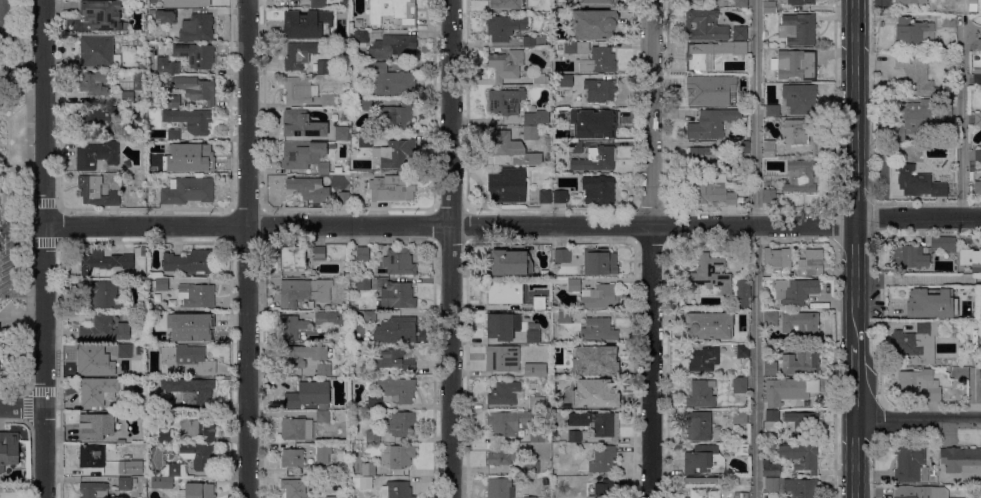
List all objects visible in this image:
building: (705, 0)
building: (601, 2)
building: (800, 2)
building: (911, 2)
building: (180, 3)
building: (504, 3)
building: (741, 3)
building: (317, 4)
building: (770, 7)
building: (394, 11)
building: (102, 15)
building: (164, 16)
road: (4, 19)
building: (949, 21)
parking lot: (10, 23)
building: (313, 23)
building: (594, 24)
building: (705, 25)
building: (355, 26)
building: (505, 27)
building: (197, 28)
building: (798, 30)
building: (740, 33)
building: (914, 33)
building: (362, 37)
road: (2, 39)
building: (533, 41)
building: (979, 45)
building: (392, 46)
building: (576, 48)
building: (98, 52)
building: (301, 54)
building: (196, 55)
building: (710, 55)
building: (599, 61)
road: (21, 63)
building: (506, 65)
building: (795, 65)
building: (168, 66)
building: (323, 67)
building: (916, 74)
building: (977, 77)
building: (540, 79)
building: (392, 81)
building: (566, 81)
building: (737, 81)
building: (136, 82)
building: (94, 83)
building: (196, 89)
building: (300, 90)
building: (600, 90)
building: (699, 91)
building: (127, 96)
building: (945, 97)
building: (800, 98)
building: (141, 99)
building: (174, 101)
building: (328, 101)
building: (505, 101)
building: (367, 104)
road: (855, 110)
building: (345, 111)
building: (772, 111)
building: (945, 111)
road: (43, 112)
building: (90, 117)
building: (396, 117)
building: (345, 118)
building: (536, 118)
building: (914, 119)
building: (978, 119)
building: (190, 120)
building: (593, 123)
building: (301, 124)
building: (712, 124)
road: (961, 124)
building: (939, 126)
building: (796, 132)
building: (341, 133)
building: (531, 133)
building: (173, 135)
building: (365, 141)
building: (814, 146)
building: (743, 147)
building: (576, 148)
building: (769, 149)
building: (508, 150)
building: (978, 153)
building: (197, 154)
building: (302, 154)
building: (396, 154)
building: (96, 155)
building: (596, 159)
building: (703, 159)
building: (168, 168)
building: (323, 168)
building: (802, 176)
building: (123, 179)
building: (921, 182)
building: (507, 186)
building: (978, 187)
building: (310, 189)
building: (392, 189)
building: (712, 189)
building: (600, 190)
building: (189, 191)
building: (96, 192)
building: (560, 196)
building: (769, 196)
building: (545, 197)
building: (343, 198)
road: (28, 208)
road: (917, 218)
road: (449, 225)
building: (944, 244)
road: (450, 248)
road: (755, 248)
road: (246, 249)
road: (651, 249)
building: (319, 253)
building: (363, 254)
parking lot: (6, 256)
building: (563, 256)
building: (910, 257)
building: (778, 258)
building: (293, 259)
building: (971, 260)
building: (105, 261)
building: (191, 262)
building: (399, 262)
building: (600, 262)
road: (855, 262)
building: (510, 263)
building: (811, 263)
building: (711, 274)
road: (917, 280)
building: (161, 284)
building: (364, 284)
building: (574, 285)
building: (304, 291)
building: (508, 291)
building: (742, 291)
building: (795, 291)
building: (102, 294)
building: (197, 296)
building: (398, 296)
building: (601, 297)
building: (539, 303)
building: (903, 309)
building: (938, 314)
road: (44, 315)
building: (369, 317)
building: (565, 317)
building: (332, 318)
building: (743, 319)
building: (771, 319)
road: (855, 322)
building: (200, 325)
building: (708, 325)
building: (801, 325)
building: (503, 326)
building: (293, 327)
building: (105, 329)
building: (598, 330)
building: (396, 331)
building: (533, 337)
building: (170, 338)
building: (345, 339)
building: (916, 343)
building: (743, 351)
building: (125, 352)
building: (301, 356)
building: (392, 360)
building: (596, 360)
building: (704, 360)
building: (186, 361)
building: (513, 361)
building: (91, 362)
building: (801, 363)
building: (771, 369)
building: (324, 370)
building: (952, 374)
road: (835, 376)
road: (855, 380)
building: (740, 385)
building: (919, 385)
building: (398, 389)
building: (97, 390)
building: (789, 390)
building: (191, 391)
building: (505, 394)
building: (595, 394)
building: (702, 394)
building: (309, 395)
building: (375, 402)
building: (536, 402)
building: (161, 403)
road: (22, 407)
building: (772, 416)
building: (323, 417)
building: (740, 417)
road: (917, 418)
building: (508, 423)
building: (802, 423)
building: (401, 424)
building: (597, 424)
building: (699, 426)
building: (96, 427)
building: (200, 428)
building: (297, 429)
building: (555, 433)
building: (539, 436)
building: (373, 437)
building: (575, 437)
building: (726, 447)
building: (741, 449)
building: (9, 450)
road: (44, 452)
building: (323, 453)
building: (198, 456)
building: (400, 456)
building: (502, 456)
building: (92, 457)
building: (801, 457)
building: (292, 459)
building: (311, 459)
road: (854, 459)
building: (603, 460)
building: (704, 460)
building: (962, 461)
building: (910, 463)
building: (125, 467)
building: (532, 467)
building: (143, 469)
building: (368, 469)
building: (770, 469)
building: (174, 470)
building: (124, 483)
building: (167, 483)
building: (362, 483)
building: (703, 487)
building: (801, 487)
building: (500, 488)
building: (294, 489)
building: (605, 489)
building: (94, 490)
building: (199, 490)
building: (399, 490)
building: (920, 492)
building: (356, 494)
building: (741, 495)
building: (332, 497)
building: (530, 497)

